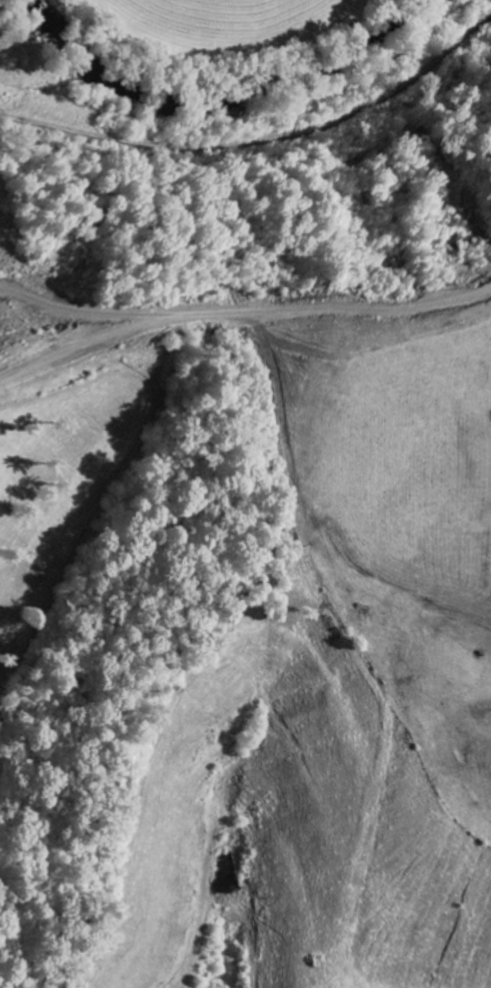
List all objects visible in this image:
river: (215, 98)

